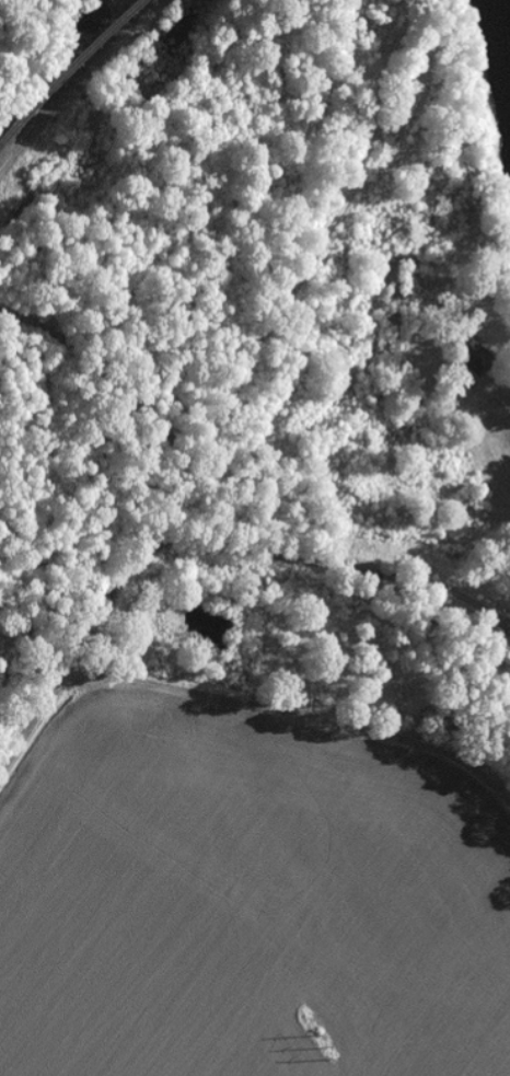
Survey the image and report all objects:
railway: (65, 66)
road: (205, 542)

